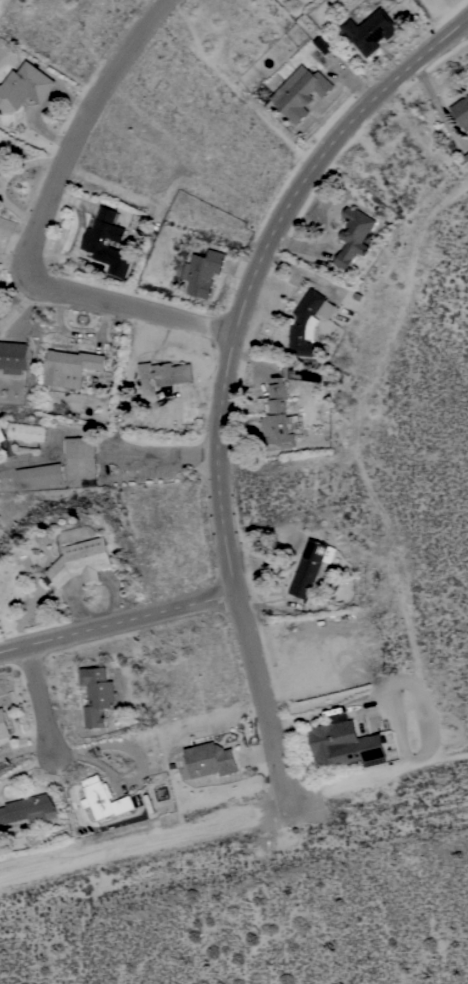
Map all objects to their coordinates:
park: (0, 0)
building: (370, 31)
building: (323, 44)
building: (24, 86)
building: (300, 92)
building: (461, 111)
building: (2, 155)
building: (1, 163)
road: (36, 229)
building: (354, 235)
building: (107, 242)
building: (203, 271)
road: (12, 281)
building: (308, 322)
building: (14, 356)
building: (70, 367)
road: (225, 374)
building: (163, 375)
building: (279, 420)
building: (27, 432)
building: (2, 433)
road: (57, 456)
road: (157, 457)
road: (82, 458)
building: (81, 459)
road: (23, 462)
building: (40, 475)
building: (81, 561)
building: (312, 566)
road: (118, 621)
building: (97, 694)
road: (39, 700)
building: (4, 723)
building: (344, 743)
building: (211, 759)
road: (133, 778)
building: (104, 798)
building: (147, 798)
building: (29, 809)
road: (145, 845)

